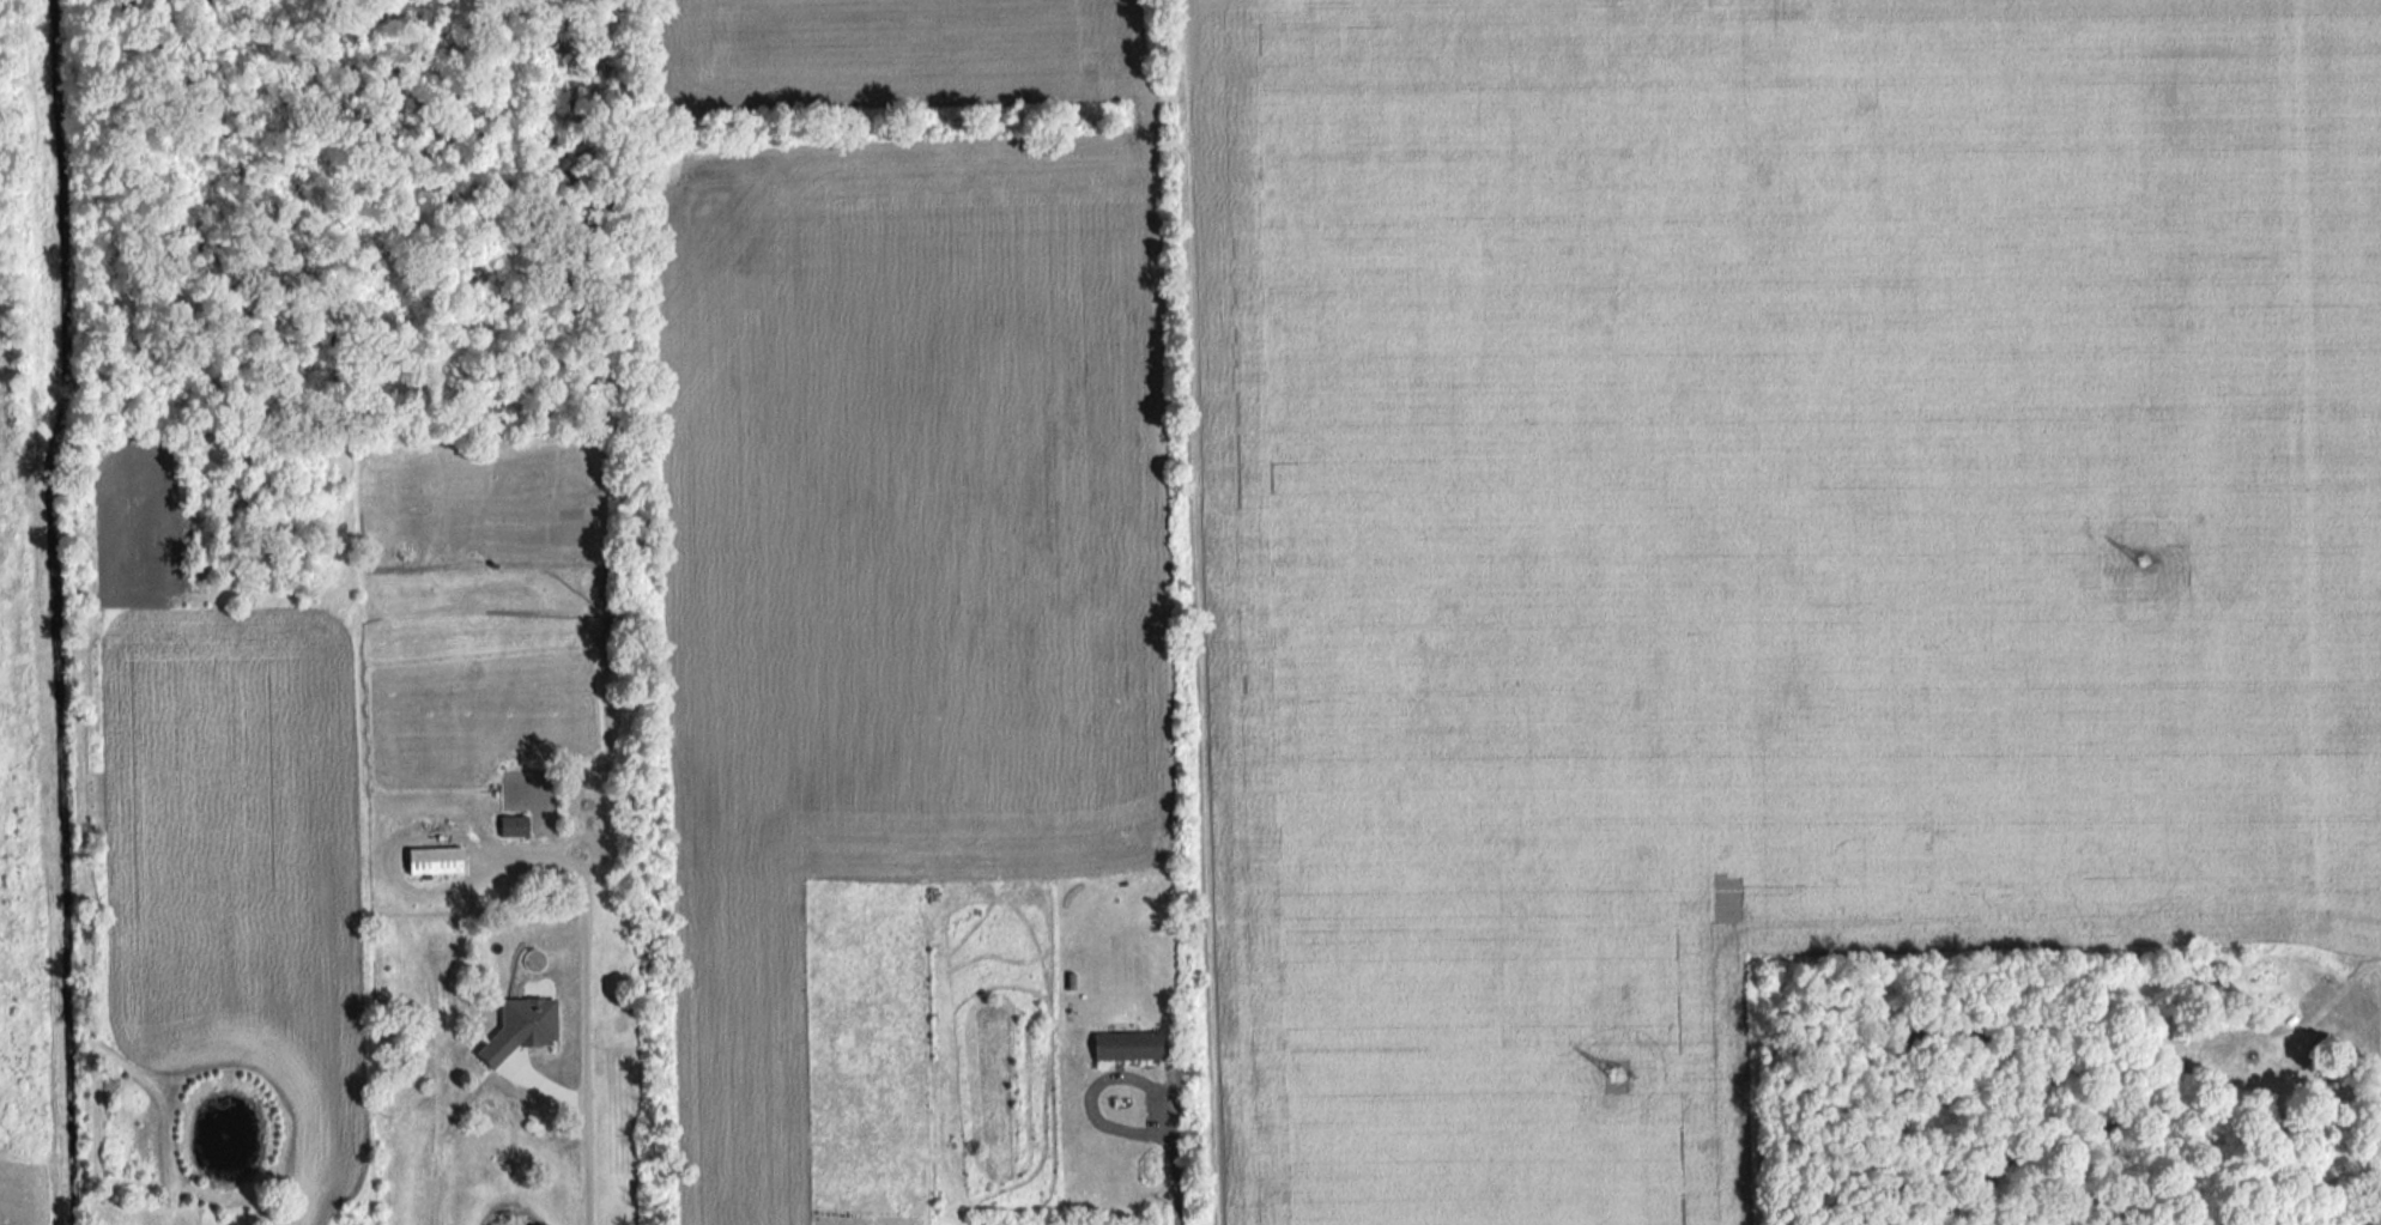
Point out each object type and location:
crop: (897, 50)
crop: (1756, 544)
power tower: (2146, 564)
crop: (893, 569)
crop: (229, 827)
building: (509, 827)
building: (430, 863)
road: (571, 989)
building: (1121, 1048)
power tower: (1617, 1071)
road: (1099, 1086)
road: (431, 1166)
road: (1175, 1185)

